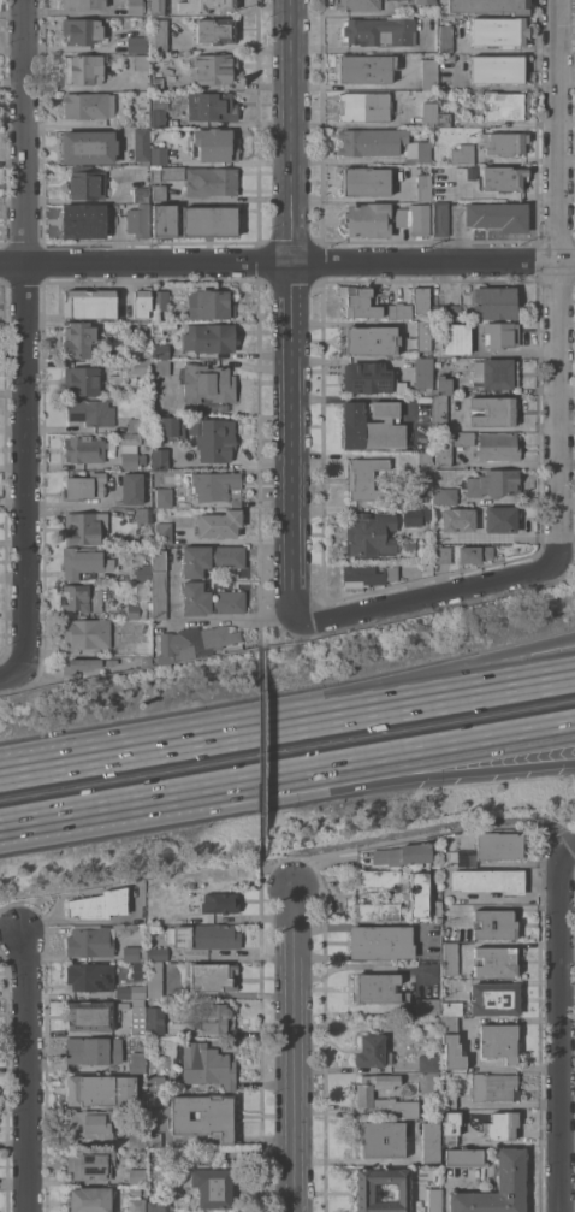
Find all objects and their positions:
building: (425, 1)
building: (83, 4)
road: (568, 4)
building: (203, 5)
building: (357, 5)
building: (135, 6)
building: (490, 6)
building: (156, 7)
building: (82, 30)
building: (215, 30)
building: (499, 31)
building: (361, 32)
building: (160, 35)
building: (445, 37)
building: (137, 43)
building: (113, 61)
building: (141, 61)
building: (213, 67)
building: (366, 67)
building: (83, 69)
building: (498, 69)
building: (429, 73)
building: (158, 83)
building: (506, 105)
building: (90, 106)
building: (211, 106)
building: (364, 106)
building: (159, 110)
building: (144, 113)
building: (429, 113)
building: (444, 114)
building: (372, 141)
building: (505, 143)
building: (142, 146)
building: (214, 146)
building: (88, 147)
building: (417, 152)
building: (463, 154)
building: (159, 155)
building: (463, 171)
building: (172, 172)
building: (503, 178)
building: (211, 181)
building: (364, 181)
building: (85, 183)
building: (423, 183)
building: (158, 191)
building: (141, 194)
building: (497, 215)
building: (367, 219)
building: (414, 219)
building: (440, 219)
building: (83, 220)
building: (138, 220)
building: (164, 220)
building: (209, 220)
road: (287, 264)
road: (563, 282)
building: (420, 298)
building: (141, 301)
building: (360, 301)
building: (158, 302)
building: (494, 302)
building: (89, 303)
building: (209, 305)
road: (294, 309)
building: (398, 311)
building: (446, 312)
building: (161, 327)
building: (142, 329)
road: (25, 332)
building: (500, 333)
building: (423, 335)
building: (209, 337)
building: (457, 338)
building: (78, 339)
building: (371, 339)
building: (159, 350)
road: (517, 353)
building: (141, 366)
building: (160, 366)
building: (494, 373)
building: (423, 376)
building: (367, 377)
building: (81, 380)
building: (208, 383)
building: (443, 385)
building: (91, 410)
building: (493, 410)
building: (439, 413)
building: (135, 424)
building: (372, 425)
building: (168, 427)
building: (129, 438)
building: (213, 438)
building: (463, 438)
building: (146, 439)
building: (497, 445)
building: (85, 449)
building: (443, 450)
building: (159, 455)
building: (134, 460)
building: (423, 463)
building: (364, 478)
building: (494, 483)
building: (214, 484)
building: (85, 485)
building: (132, 487)
building: (445, 496)
building: (164, 497)
building: (423, 498)
building: (144, 515)
building: (415, 515)
building: (500, 519)
building: (219, 524)
building: (84, 527)
building: (164, 533)
building: (371, 533)
building: (444, 533)
building: (474, 554)
building: (441, 555)
building: (211, 558)
building: (83, 560)
building: (143, 573)
building: (367, 574)
building: (159, 584)
building: (84, 597)
road: (428, 598)
building: (211, 599)
building: (138, 602)
road: (267, 617)
building: (87, 633)
building: (195, 640)
building: (146, 660)
building: (87, 663)
road: (12, 674)
road: (391, 688)
road: (391, 706)
road: (260, 750)
road: (103, 756)
road: (336, 771)
road: (336, 787)
road: (49, 823)
building: (498, 845)
building: (449, 850)
road: (574, 851)
building: (402, 853)
road: (274, 873)
building: (378, 877)
building: (488, 880)
building: (416, 894)
building: (220, 901)
building: (97, 904)
building: (378, 910)
building: (438, 911)
road: (10, 917)
building: (494, 923)
building: (203, 936)
building: (88, 939)
building: (380, 941)
building: (129, 947)
building: (156, 953)
building: (450, 958)
building: (135, 960)
building: (496, 960)
road: (361, 965)
building: (90, 976)
building: (211, 976)
building: (154, 980)
building: (378, 988)
building: (130, 991)
building: (494, 998)
building: (427, 1005)
building: (451, 1009)
building: (89, 1016)
building: (215, 1017)
building: (138, 1019)
building: (155, 1019)
road: (565, 1031)
building: (498, 1041)
building: (451, 1043)
road: (294, 1047)
building: (94, 1050)
building: (372, 1052)
road: (570, 1052)
building: (137, 1060)
building: (427, 1063)
building: (203, 1065)
road: (28, 1068)
building: (156, 1082)
building: (493, 1086)
building: (100, 1089)
building: (364, 1093)
building: (156, 1099)
building: (449, 1100)
building: (203, 1116)
building: (90, 1124)
building: (500, 1125)
building: (451, 1127)
building: (137, 1139)
building: (381, 1139)
building: (153, 1140)
building: (431, 1141)
building: (463, 1157)
building: (90, 1163)
building: (137, 1176)
building: (211, 1186)
building: (497, 1187)
building: (135, 1192)
building: (364, 1192)
building: (89, 1199)
building: (434, 1200)
building: (136, 1205)
building: (158, 1206)

